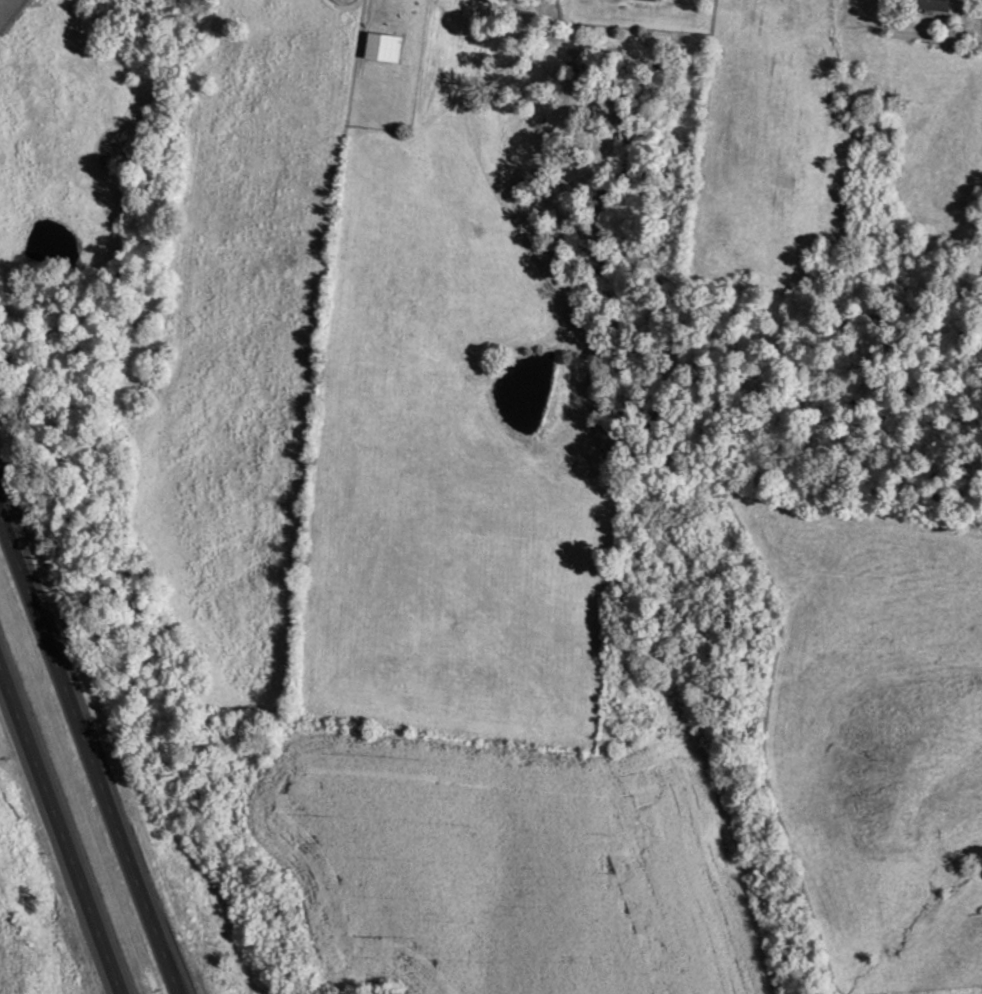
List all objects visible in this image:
building: (655, 0)
building: (937, 5)
building: (386, 47)
road: (87, 755)
road: (60, 833)

